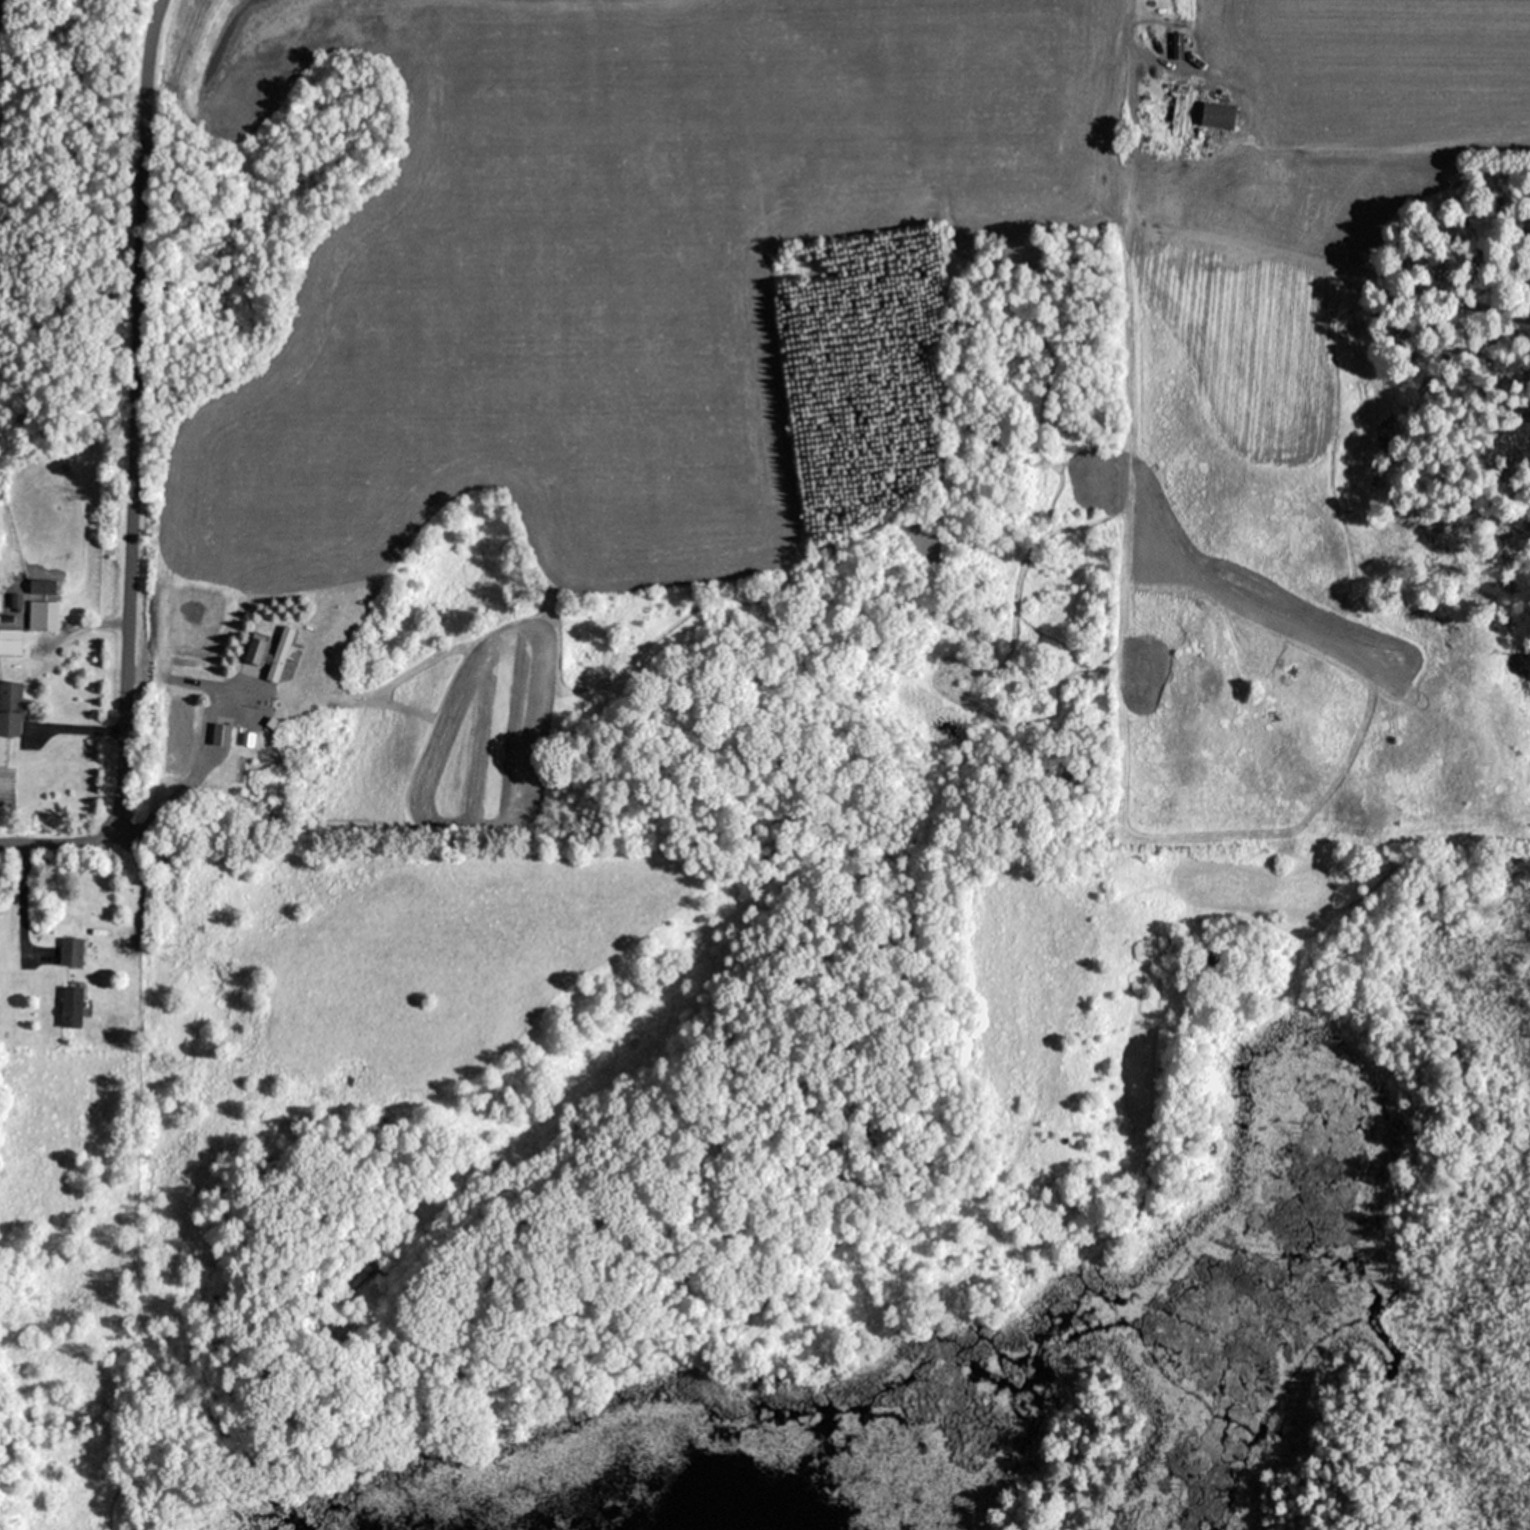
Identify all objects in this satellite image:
building: (1184, 109)
building: (1219, 115)
road: (131, 470)
building: (43, 584)
building: (43, 614)
road: (101, 621)
building: (10, 640)
building: (279, 654)
road: (190, 681)
building: (11, 706)
road: (83, 730)
building: (222, 733)
building: (172, 854)
road: (139, 875)
road: (24, 889)
building: (71, 950)
building: (72, 1005)

